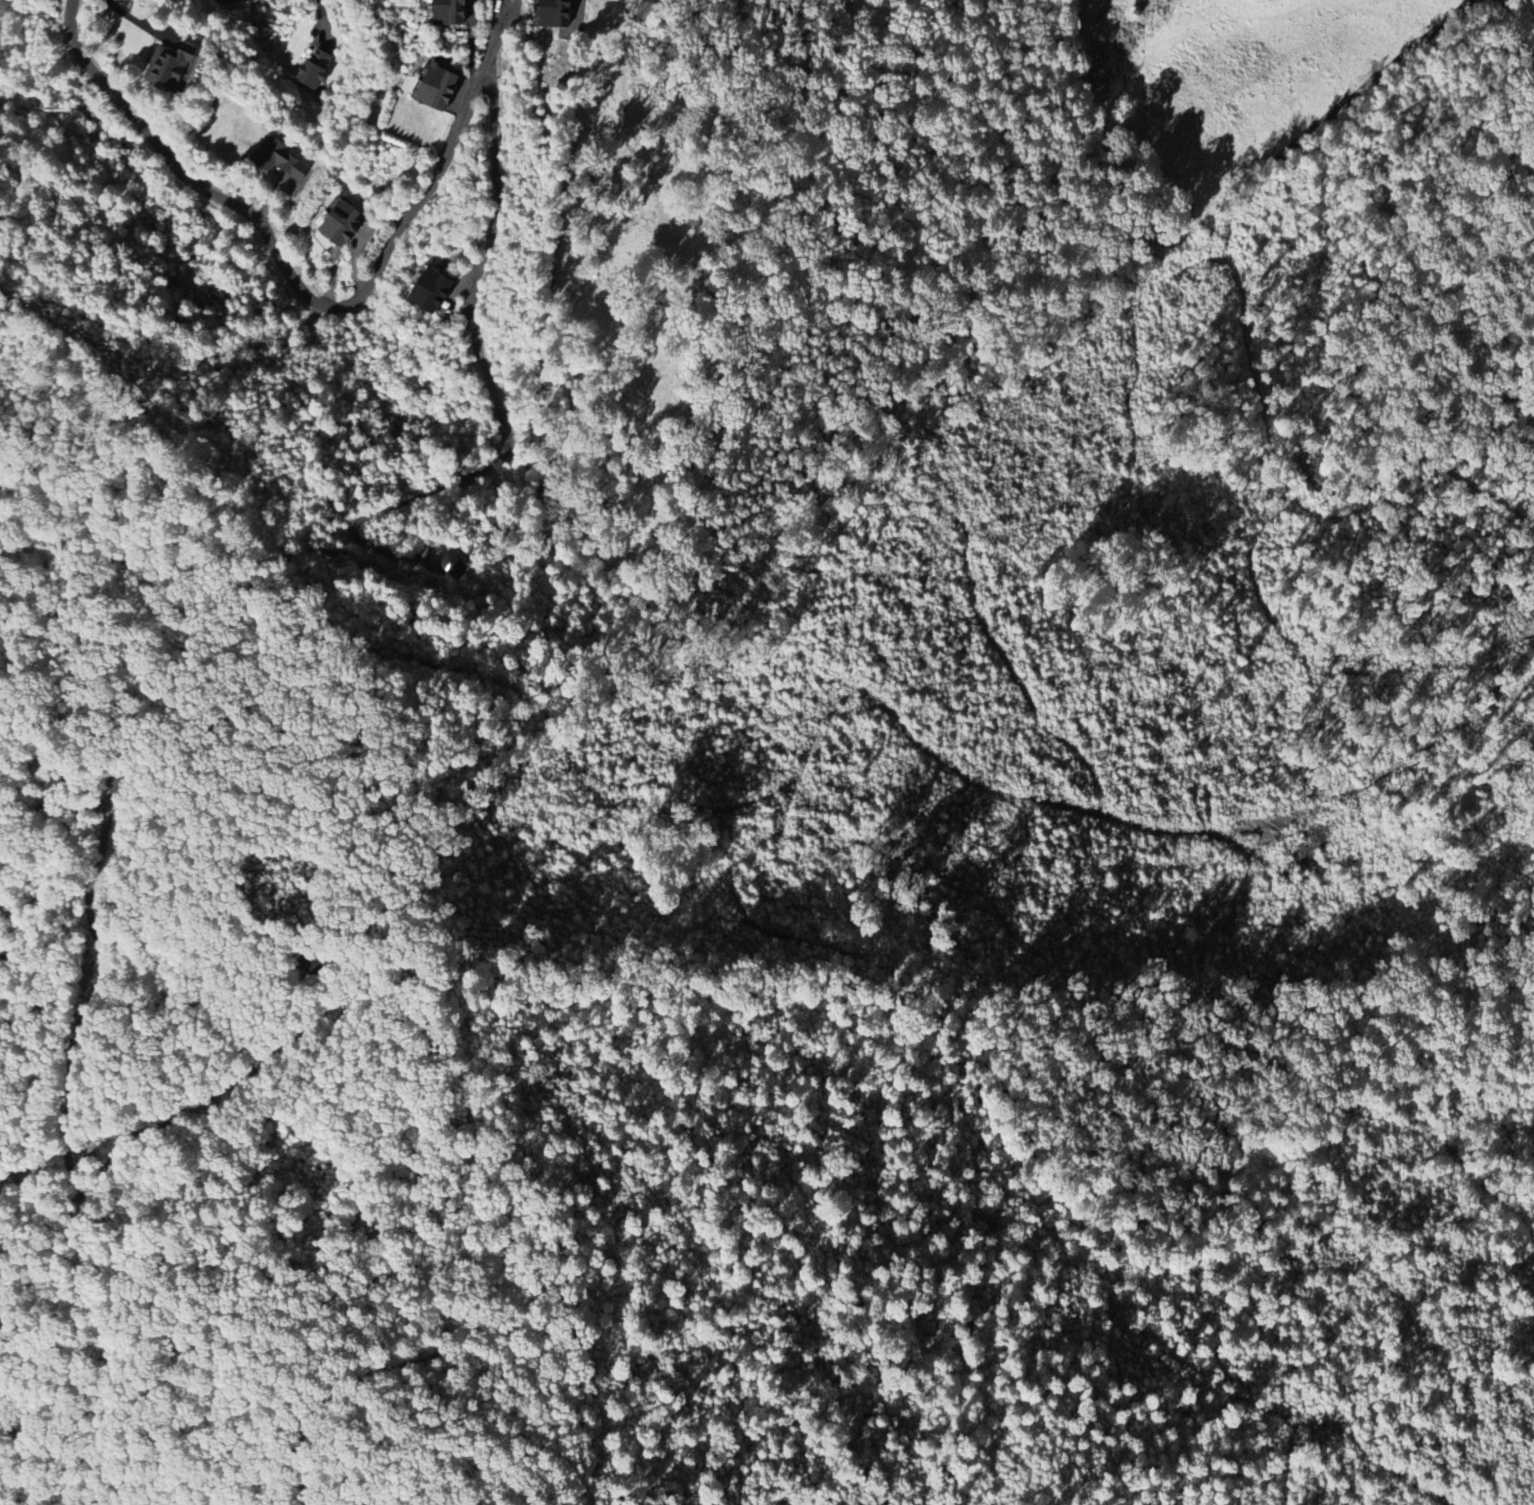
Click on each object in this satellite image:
road: (320, 8)
building: (451, 12)
building: (555, 13)
road: (493, 42)
road: (470, 44)
building: (169, 65)
building: (315, 68)
building: (439, 88)
road: (466, 110)
building: (280, 159)
building: (343, 224)
building: (433, 291)
building: (454, 565)
road: (114, 1162)

